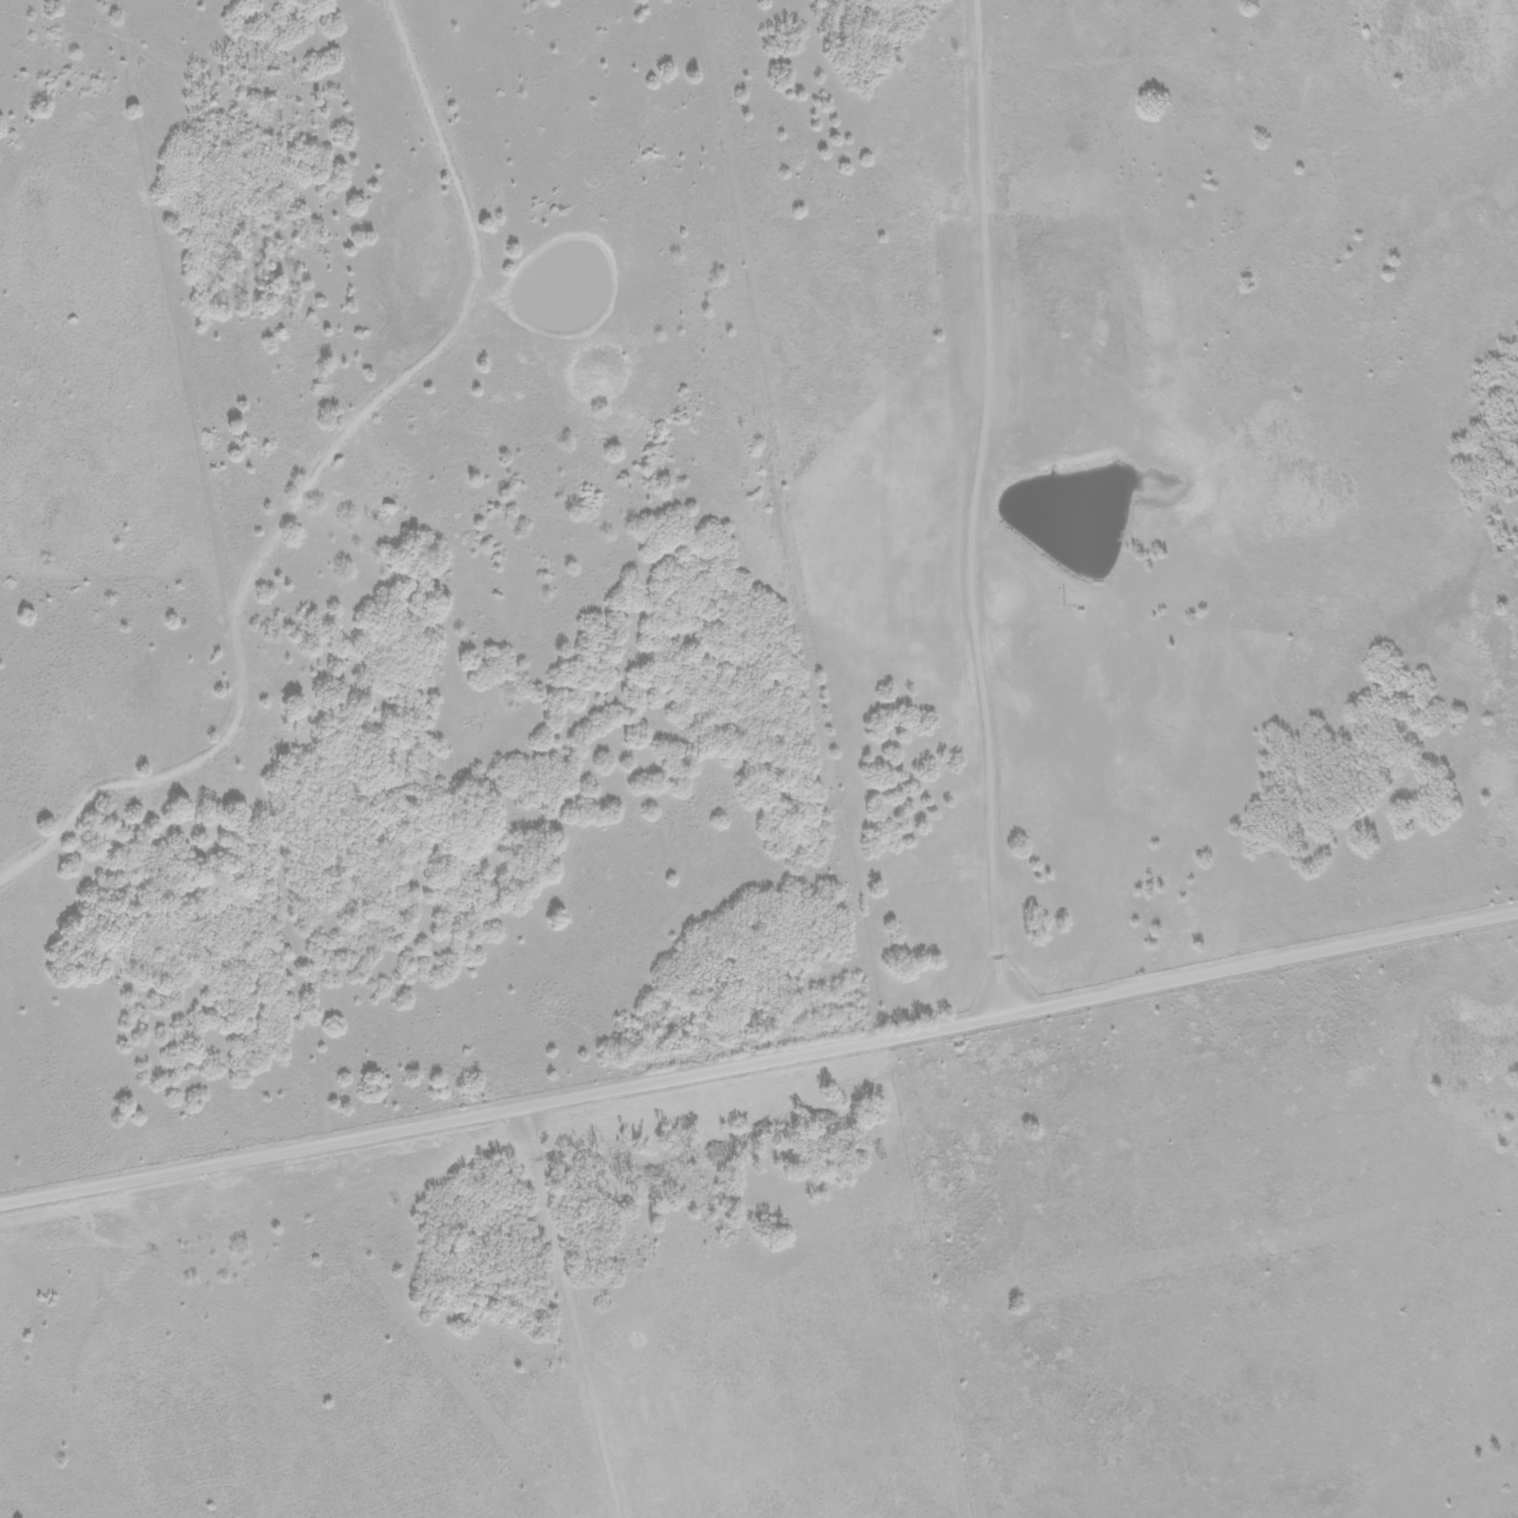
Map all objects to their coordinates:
road: (759, 1059)

